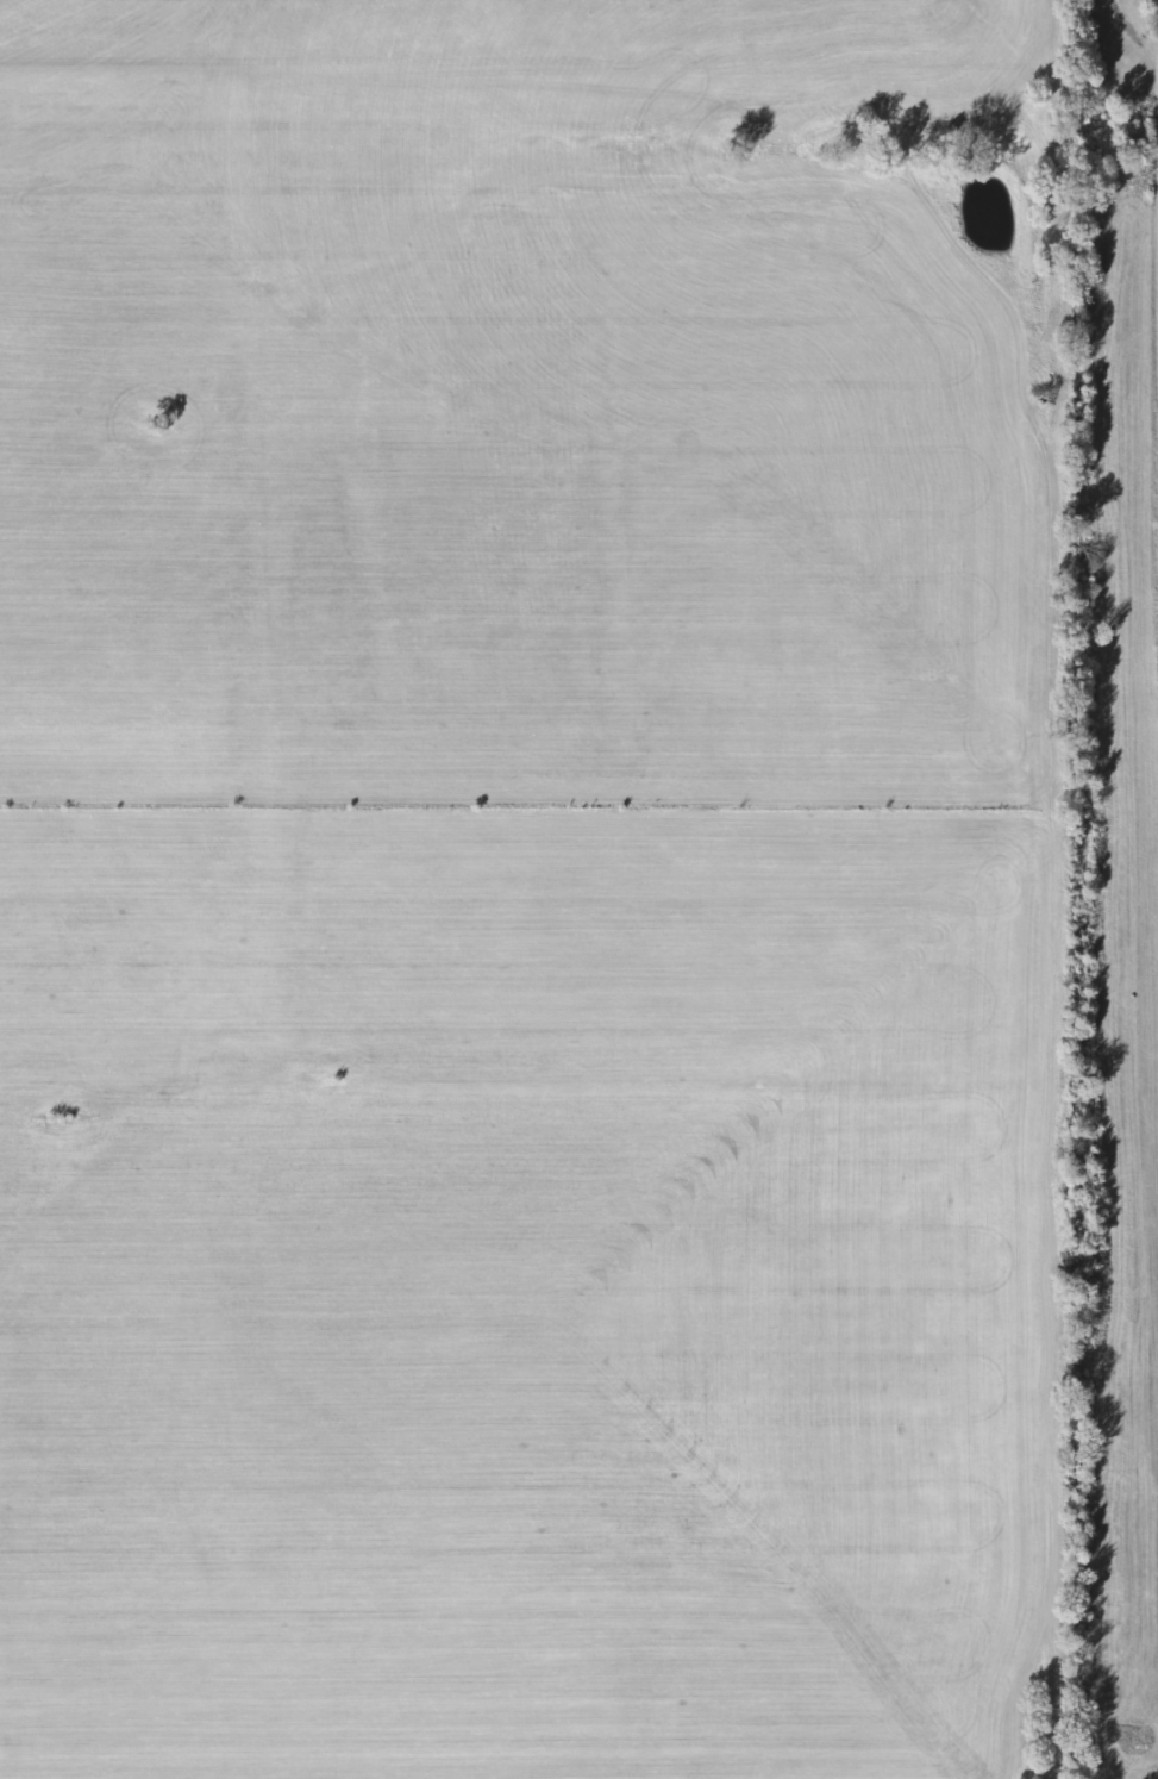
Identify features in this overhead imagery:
road: (1066, 889)

